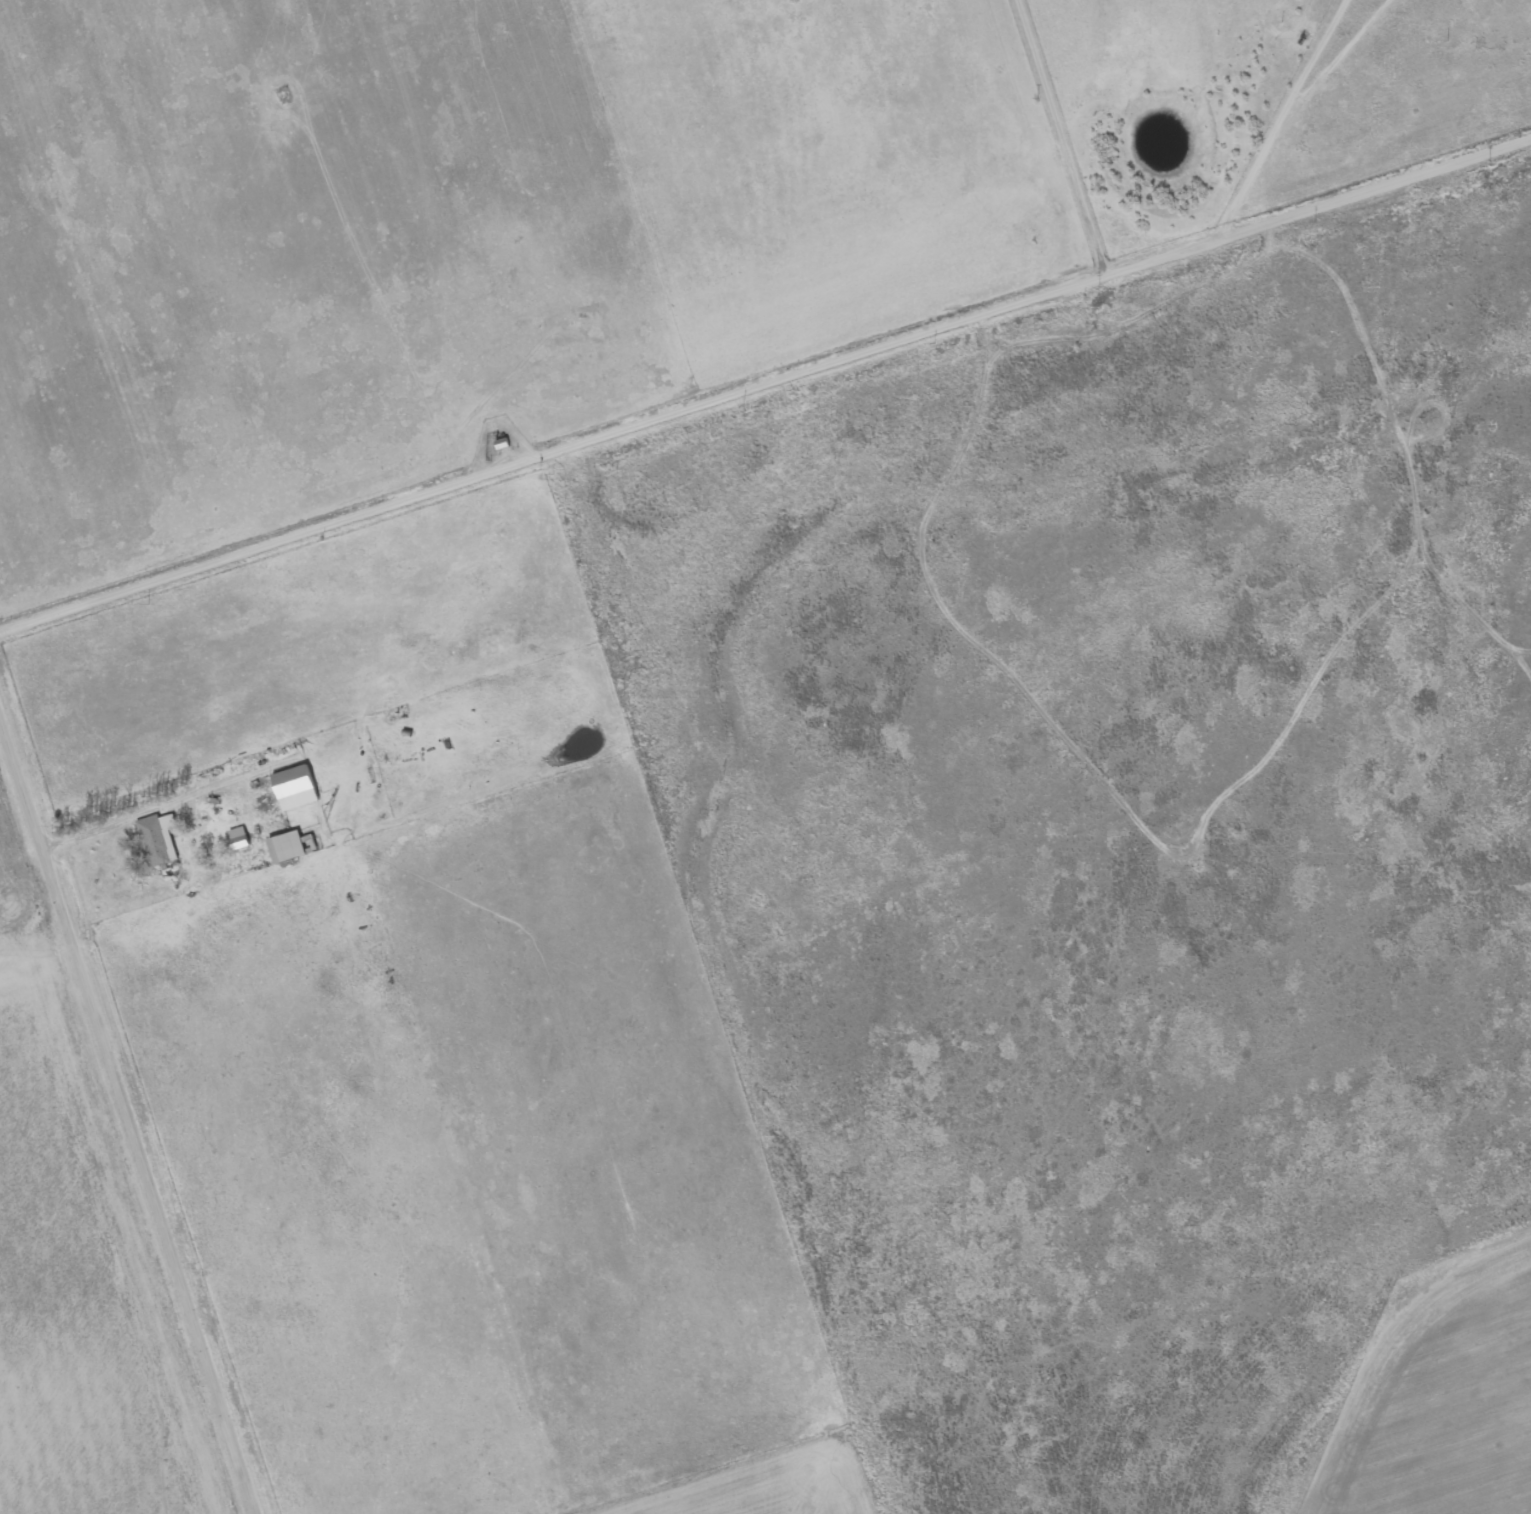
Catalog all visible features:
road: (1228, 98)
road: (1059, 137)
road: (1381, 299)
road: (765, 381)
building: (504, 446)
building: (301, 789)
building: (243, 839)
building: (162, 840)
building: (296, 848)
road: (128, 1112)

